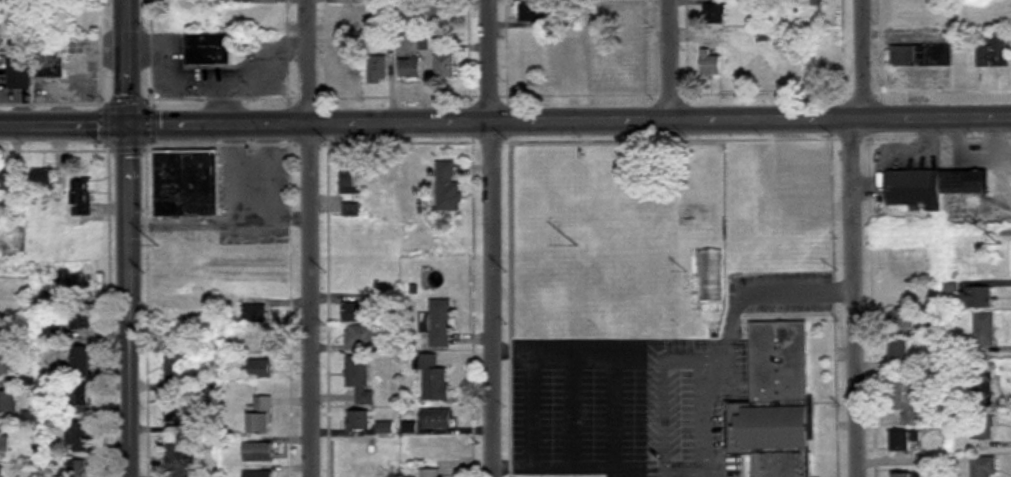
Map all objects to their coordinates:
building: (812, 3)
building: (534, 12)
building: (355, 13)
building: (716, 14)
building: (617, 15)
building: (440, 17)
building: (2, 28)
building: (209, 50)
building: (995, 50)
building: (921, 56)
building: (619, 59)
road: (668, 60)
road: (128, 62)
building: (444, 62)
building: (711, 63)
building: (350, 64)
building: (557, 66)
building: (51, 67)
building: (377, 69)
building: (409, 69)
building: (19, 71)
road: (569, 121)
road: (64, 124)
traffic signals: (129, 124)
building: (385, 169)
building: (421, 176)
building: (45, 178)
building: (350, 178)
building: (10, 180)
building: (814, 182)
building: (964, 182)
building: (186, 184)
building: (447, 188)
building: (915, 190)
building: (372, 197)
building: (82, 199)
building: (349, 210)
road: (228, 221)
road: (853, 237)
road: (307, 238)
road: (490, 238)
building: (978, 298)
road: (129, 300)
building: (354, 313)
building: (255, 314)
building: (81, 318)
building: (904, 319)
building: (437, 324)
building: (985, 329)
road: (727, 333)
building: (54, 335)
building: (361, 336)
building: (901, 351)
building: (81, 358)
building: (5, 367)
building: (261, 369)
building: (176, 373)
building: (360, 379)
building: (434, 381)
road: (528, 388)
building: (986, 389)
building: (82, 399)
building: (907, 399)
building: (7, 402)
building: (776, 403)
building: (178, 416)
building: (262, 416)
building: (436, 420)
building: (359, 421)
building: (981, 434)
building: (80, 437)
building: (906, 441)
building: (2, 442)
building: (260, 452)
building: (179, 458)
road: (572, 467)
building: (985, 467)
building: (79, 468)
building: (1, 472)
building: (260, 473)
building: (429, 473)
building: (904, 475)

